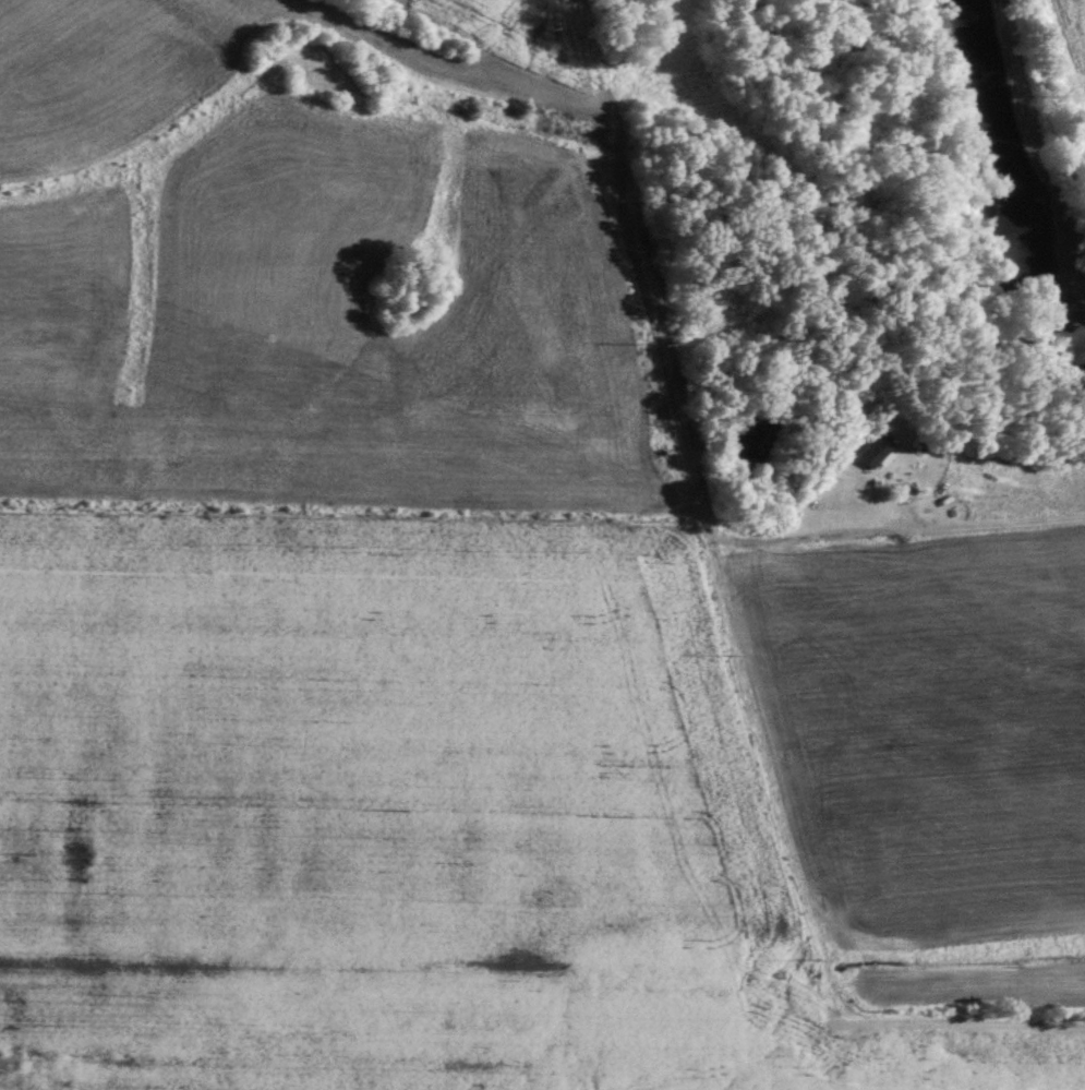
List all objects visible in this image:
river: (993, 171)
building: (879, 452)
road: (708, 523)

